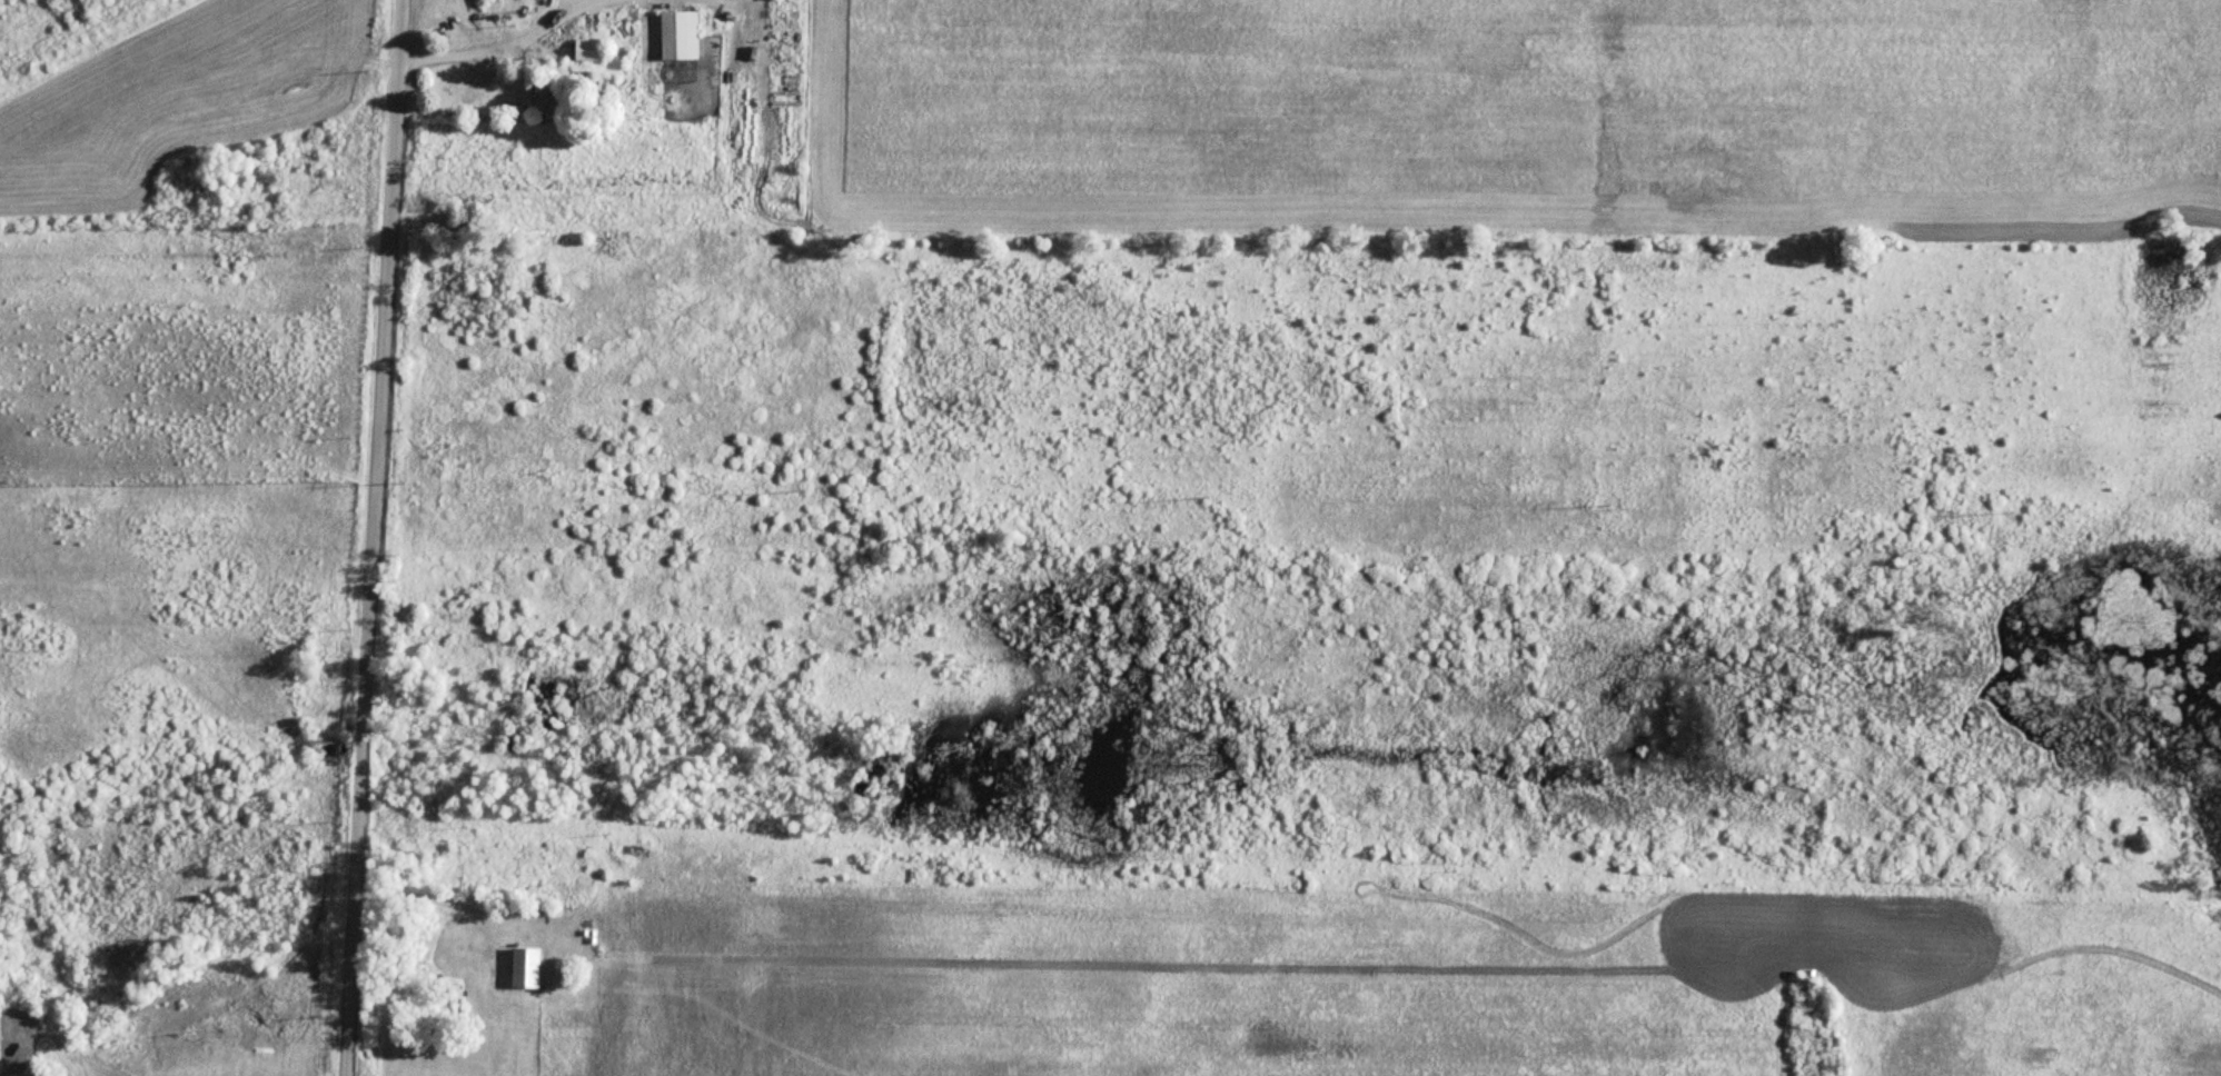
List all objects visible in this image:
building: (675, 36)
building: (582, 50)
building: (548, 89)
road: (369, 537)
building: (519, 969)

